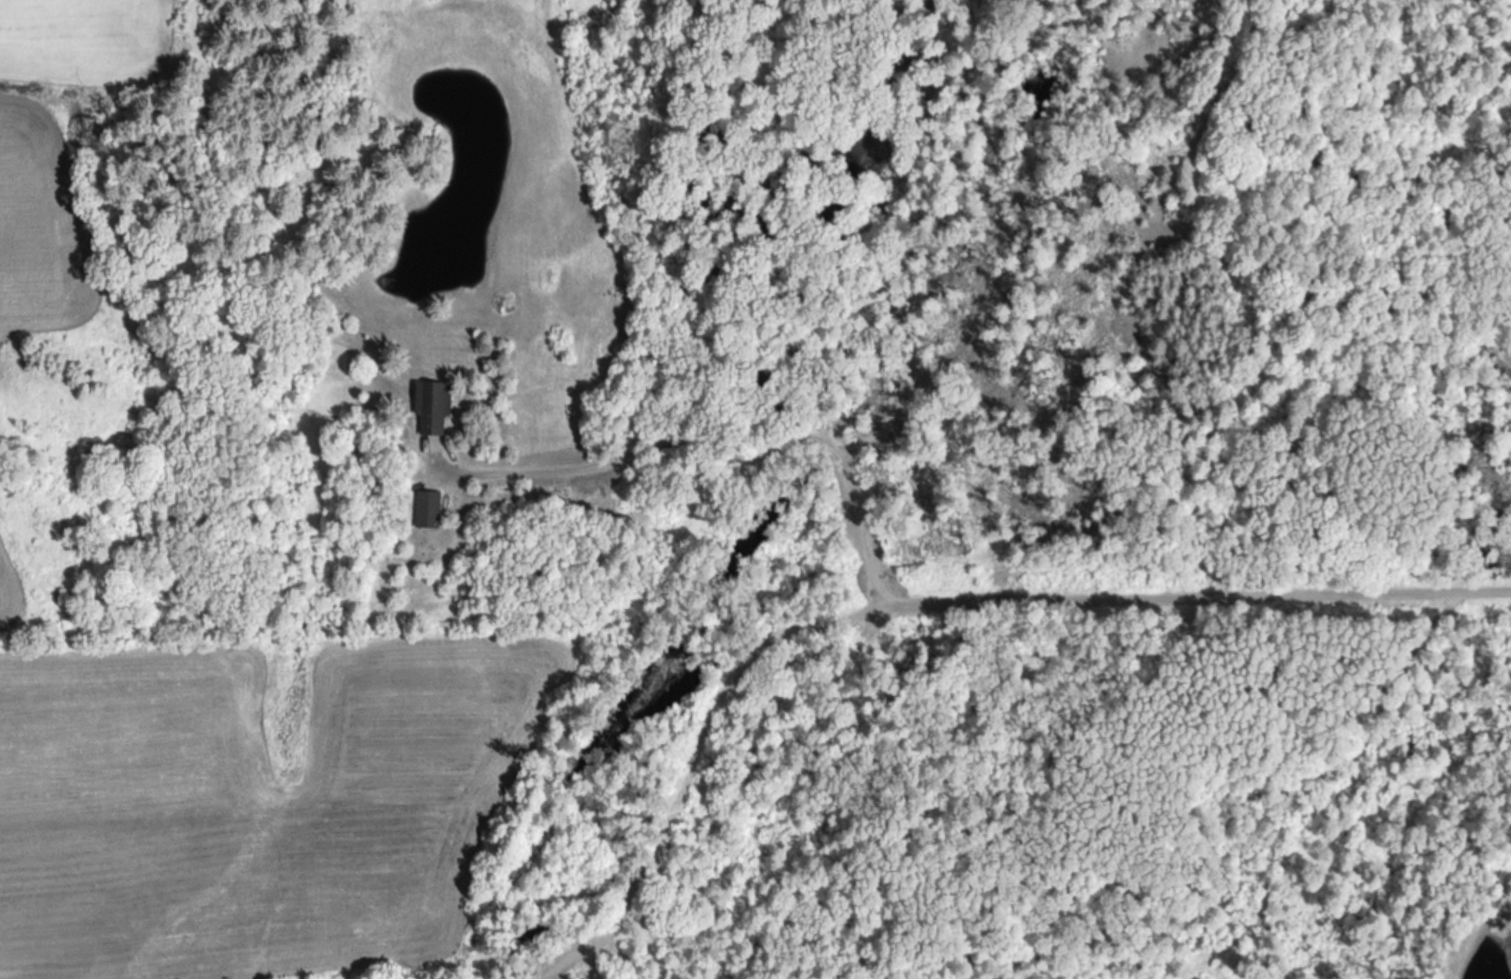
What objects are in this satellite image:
road: (1128, 298)
building: (440, 405)
road: (1166, 461)
building: (436, 507)
road: (1117, 597)
road: (637, 868)

